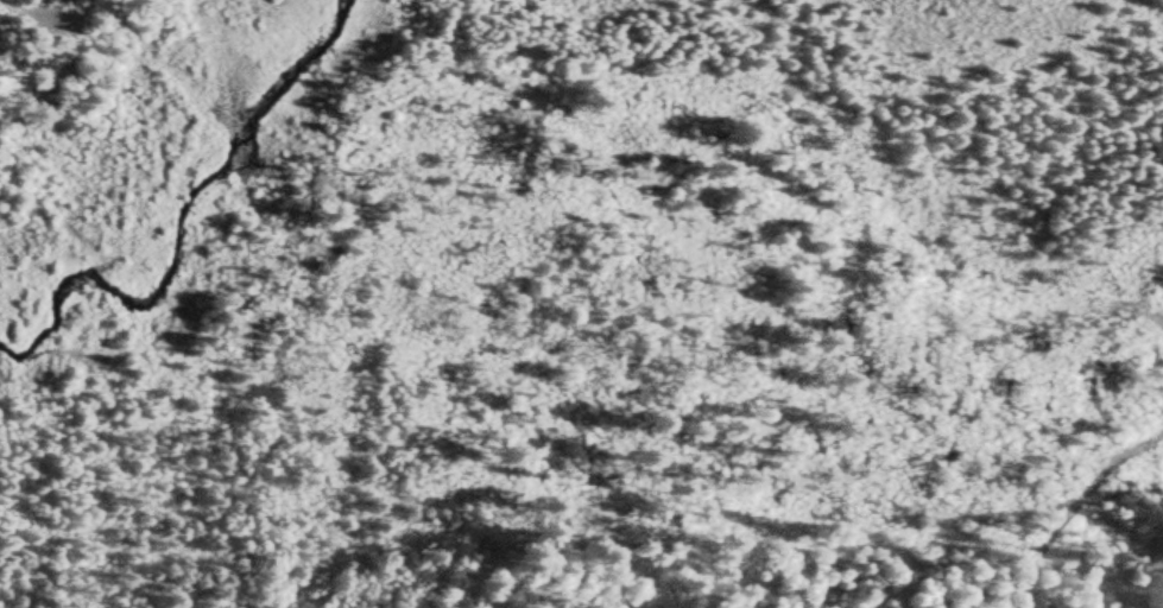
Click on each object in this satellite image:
road: (1010, 482)

